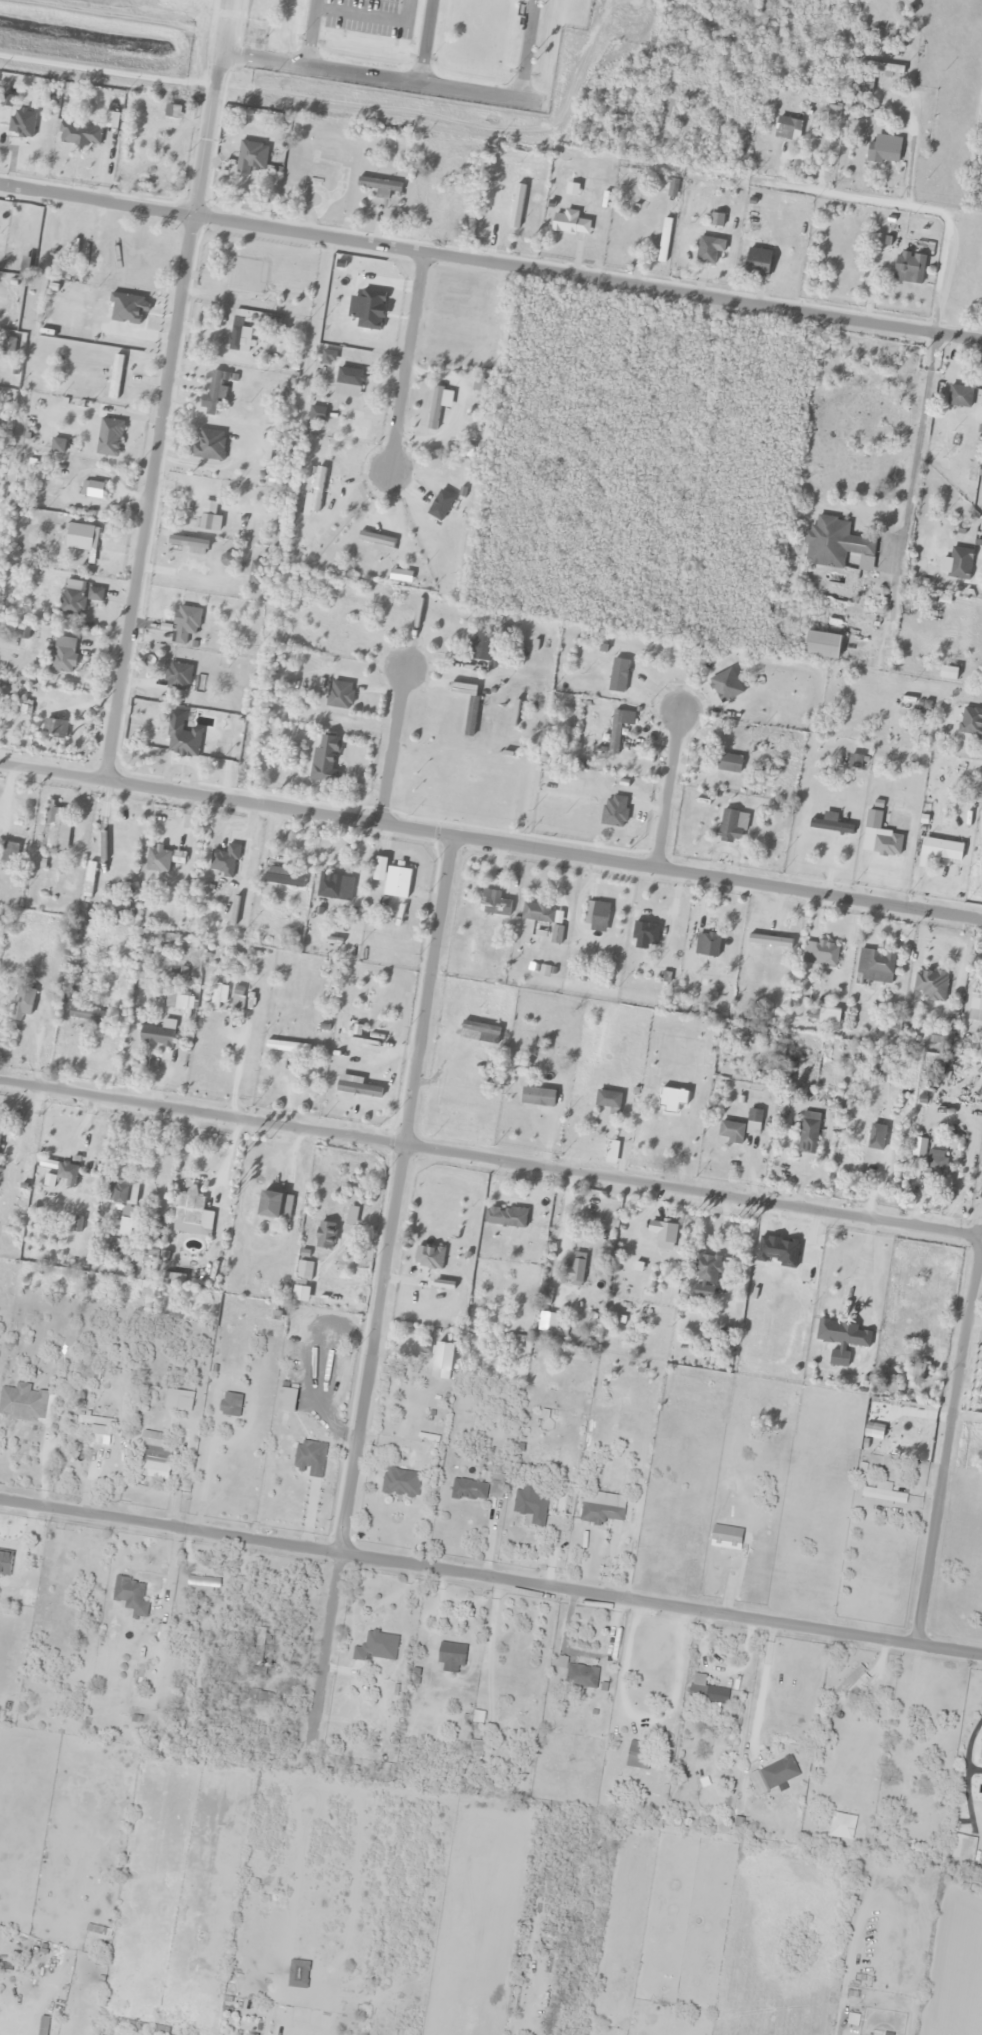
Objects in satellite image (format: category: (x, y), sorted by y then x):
road: (366, 12)
road: (308, 35)
road: (423, 44)
road: (522, 50)
building: (888, 68)
road: (373, 81)
building: (866, 86)
building: (686, 90)
road: (208, 108)
building: (787, 129)
building: (78, 134)
building: (882, 150)
building: (250, 157)
building: (379, 186)
building: (315, 190)
building: (500, 192)
road: (855, 199)
building: (565, 221)
building: (706, 250)
building: (757, 262)
road: (490, 265)
building: (908, 267)
building: (254, 294)
building: (239, 334)
road: (404, 365)
building: (114, 377)
building: (348, 382)
building: (212, 394)
building: (959, 396)
building: (434, 408)
building: (108, 438)
building: (208, 445)
building: (318, 479)
road: (147, 498)
building: (209, 522)
building: (79, 536)
building: (375, 539)
building: (189, 544)
building: (836, 544)
building: (226, 558)
building: (959, 564)
building: (254, 573)
building: (72, 597)
building: (185, 620)
building: (822, 644)
building: (481, 646)
building: (62, 659)
building: (614, 675)
building: (177, 677)
building: (339, 695)
building: (470, 716)
building: (970, 723)
building: (54, 728)
building: (614, 733)
building: (181, 737)
road: (391, 748)
building: (315, 755)
building: (729, 763)
road: (666, 792)
building: (614, 811)
building: (830, 824)
building: (728, 826)
building: (55, 829)
road: (490, 842)
building: (887, 845)
building: (939, 851)
building: (9, 852)
building: (175, 857)
building: (154, 860)
building: (280, 877)
building: (396, 883)
building: (334, 888)
building: (494, 907)
building: (536, 913)
building: (596, 916)
building: (644, 932)
building: (706, 945)
building: (819, 953)
building: (875, 966)
building: (170, 974)
building: (929, 985)
building: (214, 996)
building: (976, 996)
building: (237, 998)
building: (22, 1004)
building: (89, 1016)
building: (479, 1032)
building: (156, 1035)
building: (941, 1037)
building: (286, 1047)
building: (535, 1062)
building: (356, 1087)
building: (607, 1099)
building: (0, 1132)
building: (807, 1136)
road: (490, 1161)
building: (935, 1167)
building: (67, 1174)
building: (120, 1192)
building: (274, 1206)
building: (189, 1208)
building: (350, 1216)
building: (505, 1217)
building: (662, 1233)
building: (325, 1236)
building: (705, 1268)
building: (574, 1269)
road: (382, 1287)
building: (547, 1322)
building: (841, 1340)
building: (88, 1370)
building: (915, 1370)
building: (179, 1400)
building: (23, 1403)
building: (228, 1403)
building: (96, 1421)
road: (950, 1442)
building: (309, 1458)
building: (156, 1461)
building: (401, 1482)
building: (496, 1486)
building: (469, 1490)
building: (884, 1493)
building: (531, 1506)
building: (601, 1512)
building: (5, 1563)
road: (491, 1576)
building: (204, 1581)
building: (131, 1595)
building: (260, 1640)
building: (451, 1656)
building: (582, 1676)
building: (852, 1682)
building: (708, 1694)
building: (259, 1696)
building: (377, 1716)
building: (978, 1748)
building: (638, 1755)
building: (779, 1772)
building: (963, 1847)
building: (104, 1873)
building: (362, 1987)
building: (43, 2025)
building: (888, 2034)

